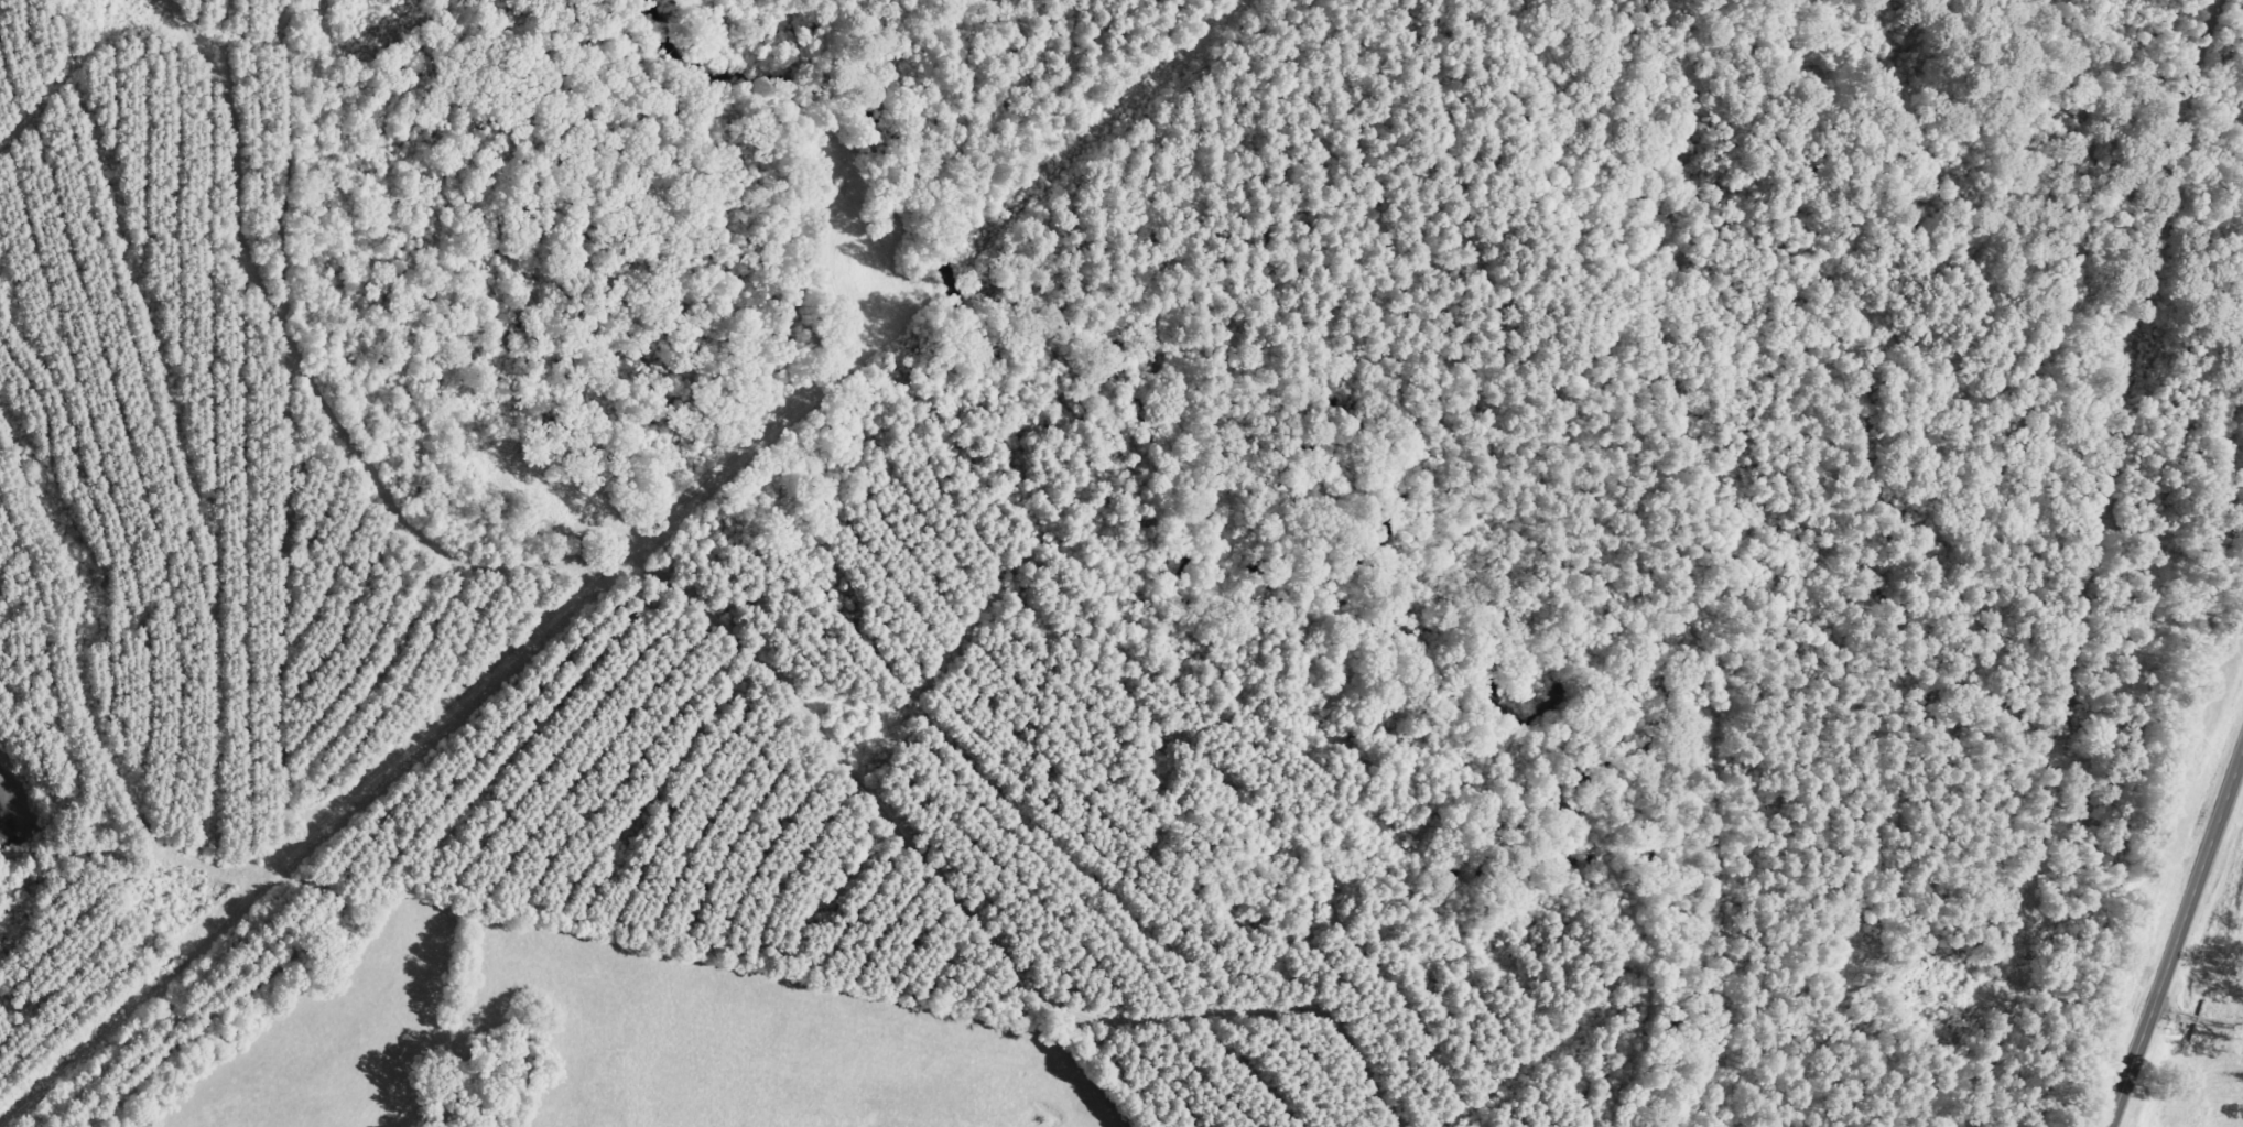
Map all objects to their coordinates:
road: (2178, 952)
road: (2202, 1012)

